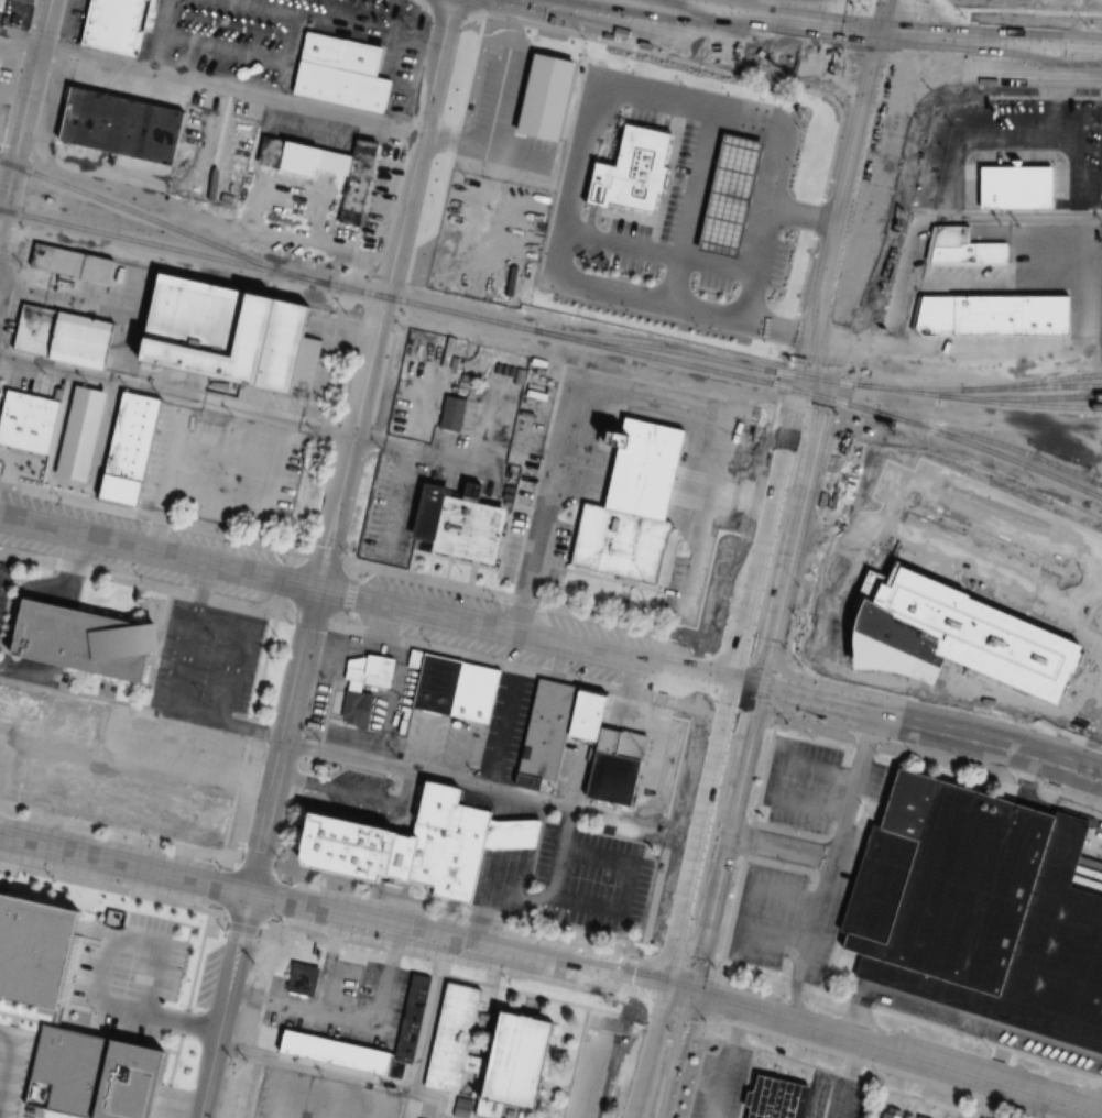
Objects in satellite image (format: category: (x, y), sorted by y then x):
road: (856, 0)
park: (1056, 2)
road: (530, 3)
road: (948, 3)
road: (923, 6)
road: (696, 9)
road: (1026, 9)
road: (523, 21)
road: (628, 22)
building: (112, 23)
road: (892, 23)
road: (796, 32)
traffic signals: (887, 47)
road: (994, 56)
building: (0, 61)
building: (343, 73)
road: (208, 85)
road: (951, 90)
road: (24, 109)
road: (829, 112)
road: (834, 112)
building: (650, 118)
road: (915, 120)
building: (116, 125)
building: (331, 169)
road: (905, 169)
building: (1023, 185)
road: (975, 220)
railway: (161, 224)
road: (252, 230)
railway: (162, 246)
building: (76, 261)
building: (722, 277)
building: (985, 295)
building: (228, 330)
building: (68, 335)
railway: (710, 358)
road: (818, 365)
railway: (719, 371)
road: (778, 381)
railway: (1039, 381)
railway: (996, 387)
railway: (995, 397)
railway: (1035, 405)
road: (246, 410)
building: (506, 410)
building: (455, 413)
building: (44, 418)
railway: (999, 442)
building: (129, 452)
building: (22, 453)
building: (632, 502)
road: (891, 504)
road: (834, 519)
building: (461, 523)
road: (812, 531)
parking lot: (985, 537)
road: (324, 559)
road: (372, 601)
building: (83, 638)
building: (412, 658)
building: (435, 683)
traffic signals: (745, 684)
building: (462, 690)
road: (946, 691)
building: (351, 692)
building: (481, 693)
road: (504, 711)
building: (585, 714)
road: (925, 723)
building: (544, 735)
building: (63, 752)
road: (356, 759)
building: (614, 768)
road: (767, 780)
road: (841, 833)
building: (501, 837)
road: (712, 837)
road: (774, 845)
building: (399, 847)
parking lot: (839, 858)
parking lot: (1094, 866)
parking lot: (592, 878)
road: (738, 910)
building: (981, 910)
road: (340, 912)
building: (98, 933)
road: (110, 938)
building: (175, 945)
road: (274, 951)
building: (35, 953)
building: (306, 979)
traffic signals: (680, 990)
road: (796, 1001)
road: (185, 1013)
road: (182, 1018)
parking lot: (997, 1032)
building: (533, 1039)
road: (650, 1050)
road: (891, 1052)
building: (337, 1053)
road: (677, 1054)
road: (8, 1061)
parking lot: (13, 1067)
building: (94, 1075)
parking lot: (590, 1075)
road: (588, 1082)
parking lot: (717, 1082)
road: (389, 1085)
parking lot: (838, 1095)
building: (777, 1098)
road: (1056, 1110)
building: (895, 1114)
building: (923, 1117)

